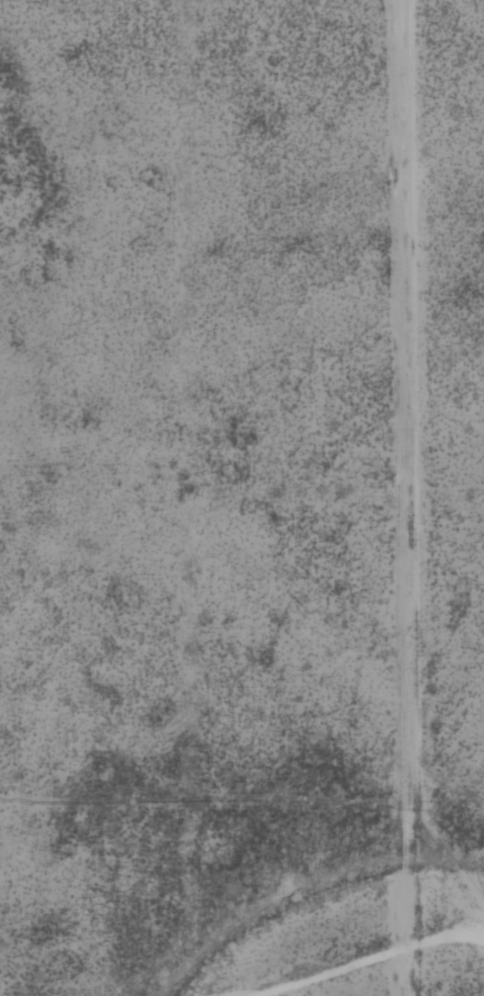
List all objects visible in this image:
road: (372, 958)

